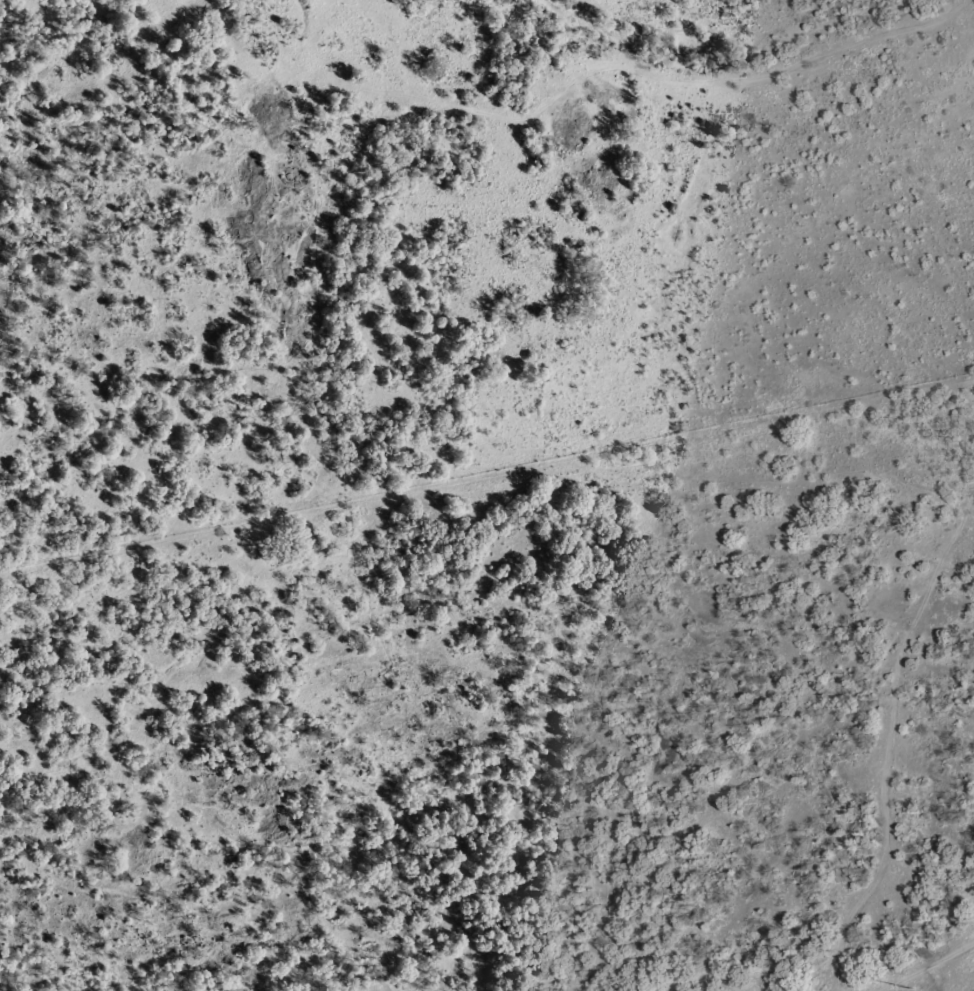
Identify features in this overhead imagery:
road: (886, 746)
power tower: (912, 987)

